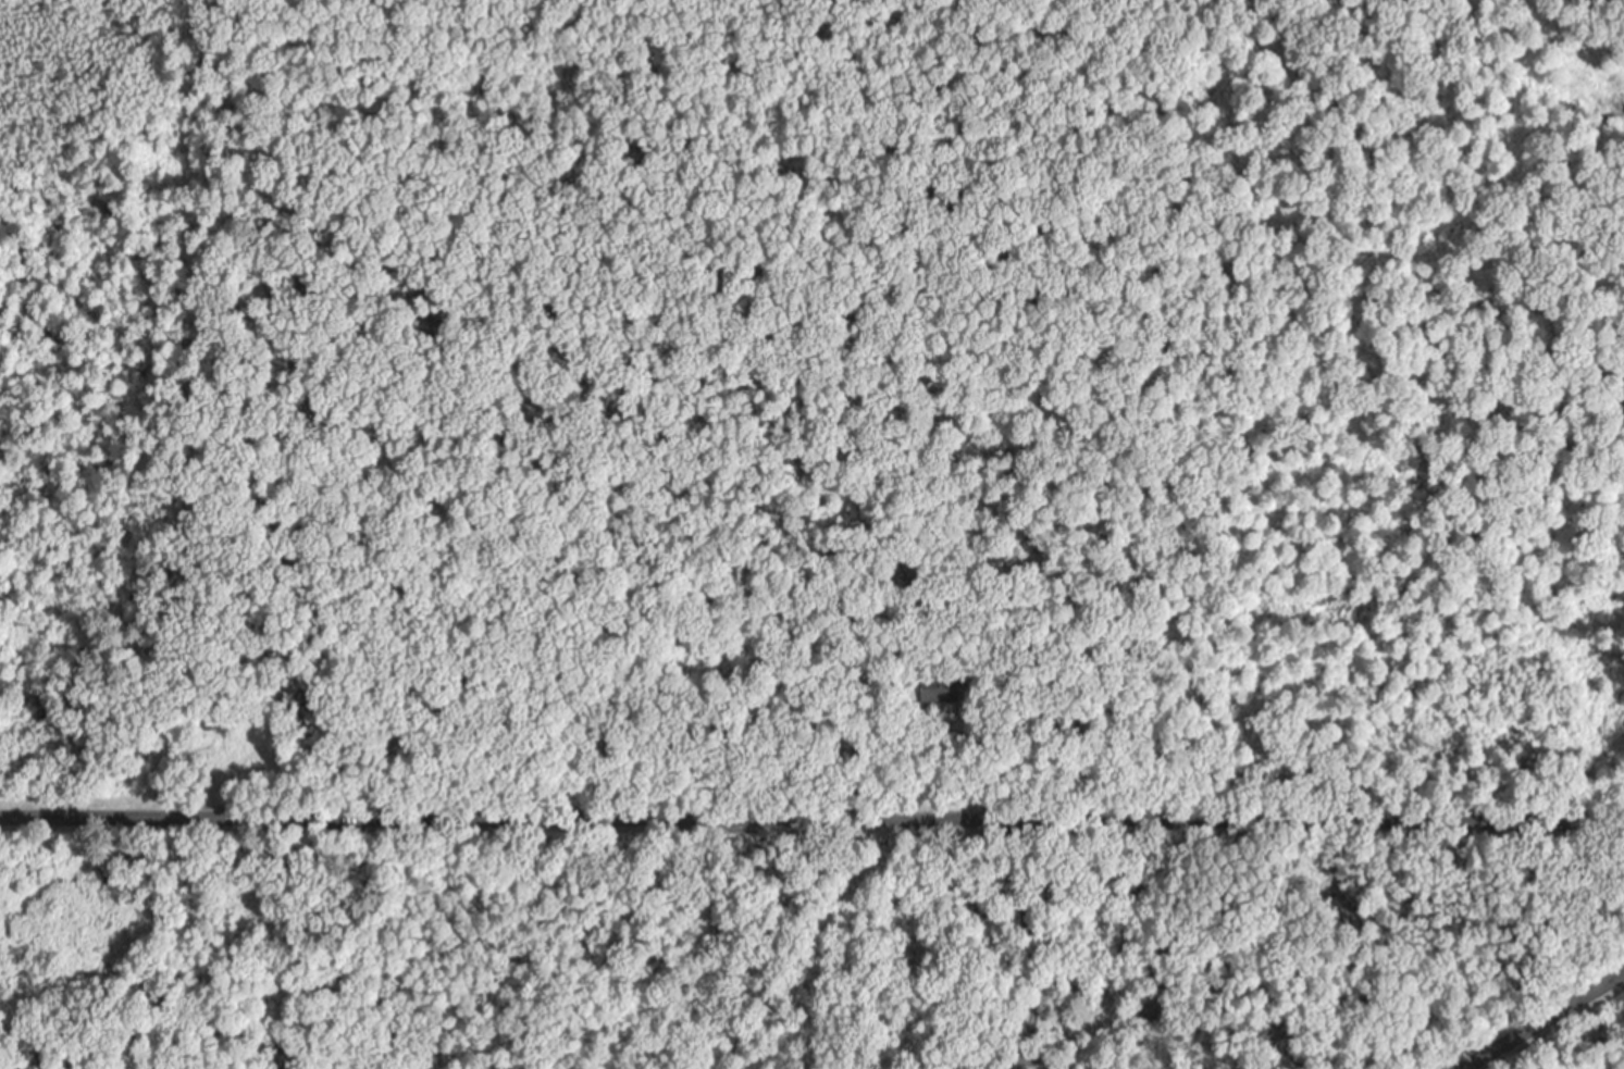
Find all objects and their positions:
road: (811, 823)
building: (1065, 1020)
road: (1545, 1022)

